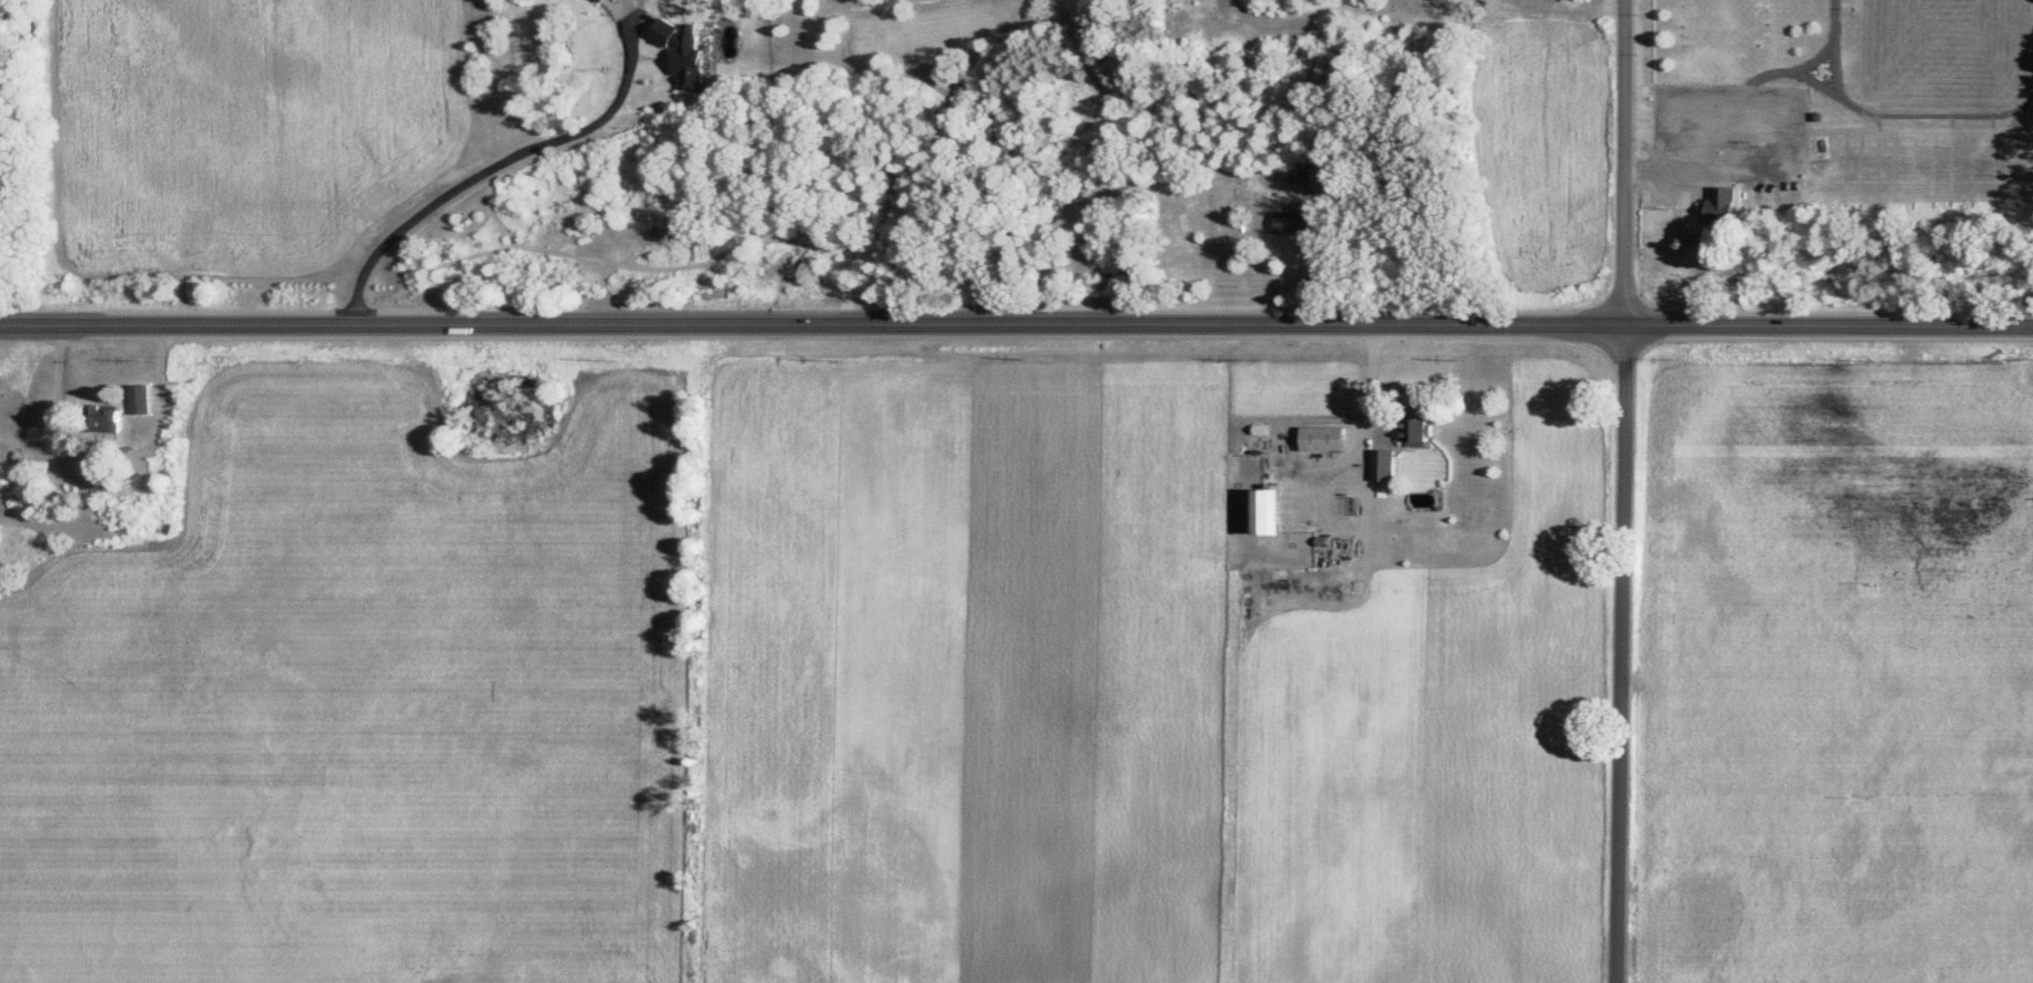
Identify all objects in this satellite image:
building: (597, 1)
road: (501, 161)
building: (1284, 223)
road: (1016, 323)
road: (1372, 378)
building: (1412, 431)
building: (1318, 440)
road: (109, 453)
building: (1379, 466)
road: (1622, 491)
building: (1347, 507)
building: (1259, 512)

